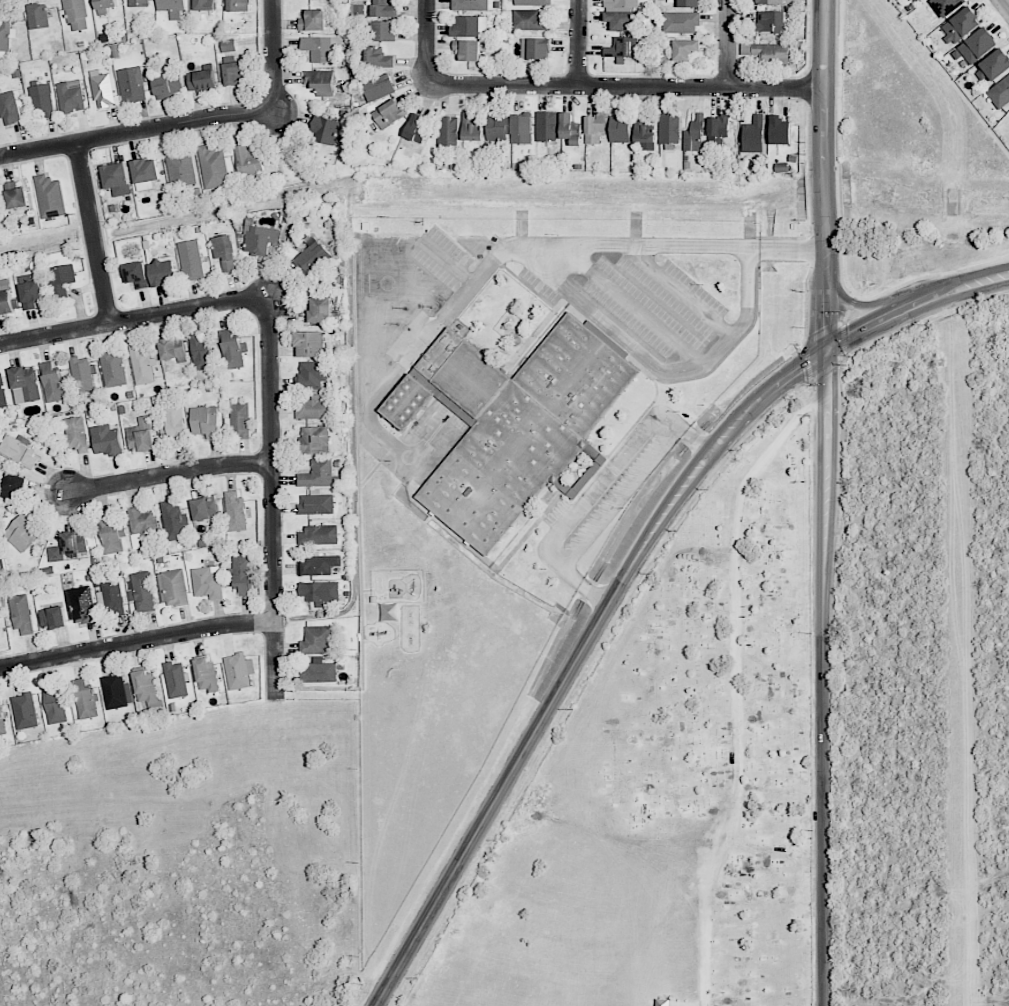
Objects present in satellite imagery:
building: (909, 0)
building: (532, 2)
building: (772, 2)
building: (138, 3)
building: (621, 3)
building: (689, 3)
building: (204, 5)
building: (238, 5)
building: (471, 5)
building: (105, 6)
building: (946, 6)
road: (1003, 6)
building: (171, 7)
building: (385, 11)
building: (76, 15)
building: (38, 16)
building: (312, 20)
building: (619, 20)
building: (529, 21)
building: (680, 22)
building: (771, 22)
building: (960, 25)
building: (470, 26)
building: (382, 31)
building: (5, 36)
road: (427, 43)
road: (579, 44)
building: (228, 45)
road: (729, 45)
building: (977, 45)
building: (623, 47)
building: (535, 48)
building: (323, 49)
building: (468, 49)
building: (685, 49)
building: (768, 53)
road: (272, 56)
building: (377, 57)
building: (993, 66)
building: (233, 72)
building: (201, 80)
building: (320, 81)
building: (131, 84)
building: (167, 86)
building: (378, 87)
road: (578, 88)
building: (101, 89)
road: (775, 90)
building: (1000, 93)
building: (71, 96)
building: (42, 99)
building: (9, 108)
building: (389, 113)
building: (546, 126)
building: (496, 127)
building: (415, 128)
building: (471, 128)
building: (619, 128)
building: (669, 128)
building: (324, 129)
building: (521, 129)
building: (570, 129)
building: (595, 129)
building: (718, 130)
building: (779, 130)
building: (448, 131)
road: (136, 132)
building: (644, 133)
building: (694, 134)
building: (753, 135)
road: (823, 135)
building: (248, 161)
building: (213, 167)
building: (180, 169)
building: (145, 173)
building: (116, 179)
building: (15, 195)
building: (49, 197)
road: (93, 234)
building: (259, 240)
road: (659, 245)
building: (225, 252)
building: (312, 258)
building: (191, 260)
road: (447, 262)
building: (163, 272)
building: (137, 276)
road: (747, 277)
building: (62, 280)
road: (678, 290)
road: (951, 290)
building: (30, 291)
building: (5, 298)
road: (631, 304)
road: (852, 304)
building: (320, 309)
road: (133, 319)
road: (861, 330)
building: (309, 343)
road: (632, 347)
building: (173, 349)
building: (232, 349)
traffic signals: (829, 350)
building: (201, 352)
building: (142, 364)
road: (409, 365)
building: (113, 368)
building: (81, 374)
building: (312, 374)
building: (52, 382)
building: (24, 384)
building: (2, 392)
building: (312, 409)
building: (240, 419)
building: (205, 421)
building: (172, 422)
building: (510, 423)
building: (76, 434)
building: (140, 435)
building: (106, 440)
building: (314, 440)
building: (18, 450)
road: (599, 457)
road: (168, 474)
building: (319, 474)
building: (13, 487)
road: (593, 490)
road: (569, 492)
road: (622, 499)
road: (271, 501)
building: (316, 503)
building: (204, 508)
building: (235, 511)
building: (174, 521)
building: (143, 523)
building: (22, 532)
building: (109, 534)
building: (318, 535)
building: (68, 546)
road: (482, 557)
building: (319, 565)
building: (242, 575)
building: (207, 582)
building: (173, 586)
building: (142, 591)
building: (319, 591)
building: (111, 598)
road: (360, 603)
building: (80, 605)
building: (21, 614)
building: (52, 617)
road: (827, 638)
building: (318, 639)
road: (136, 642)
road: (577, 657)
building: (239, 671)
building: (320, 671)
building: (206, 674)
building: (176, 679)
road: (735, 687)
building: (146, 688)
building: (116, 691)
building: (85, 699)
building: (54, 707)
building: (24, 711)
building: (2, 721)
park: (671, 781)

